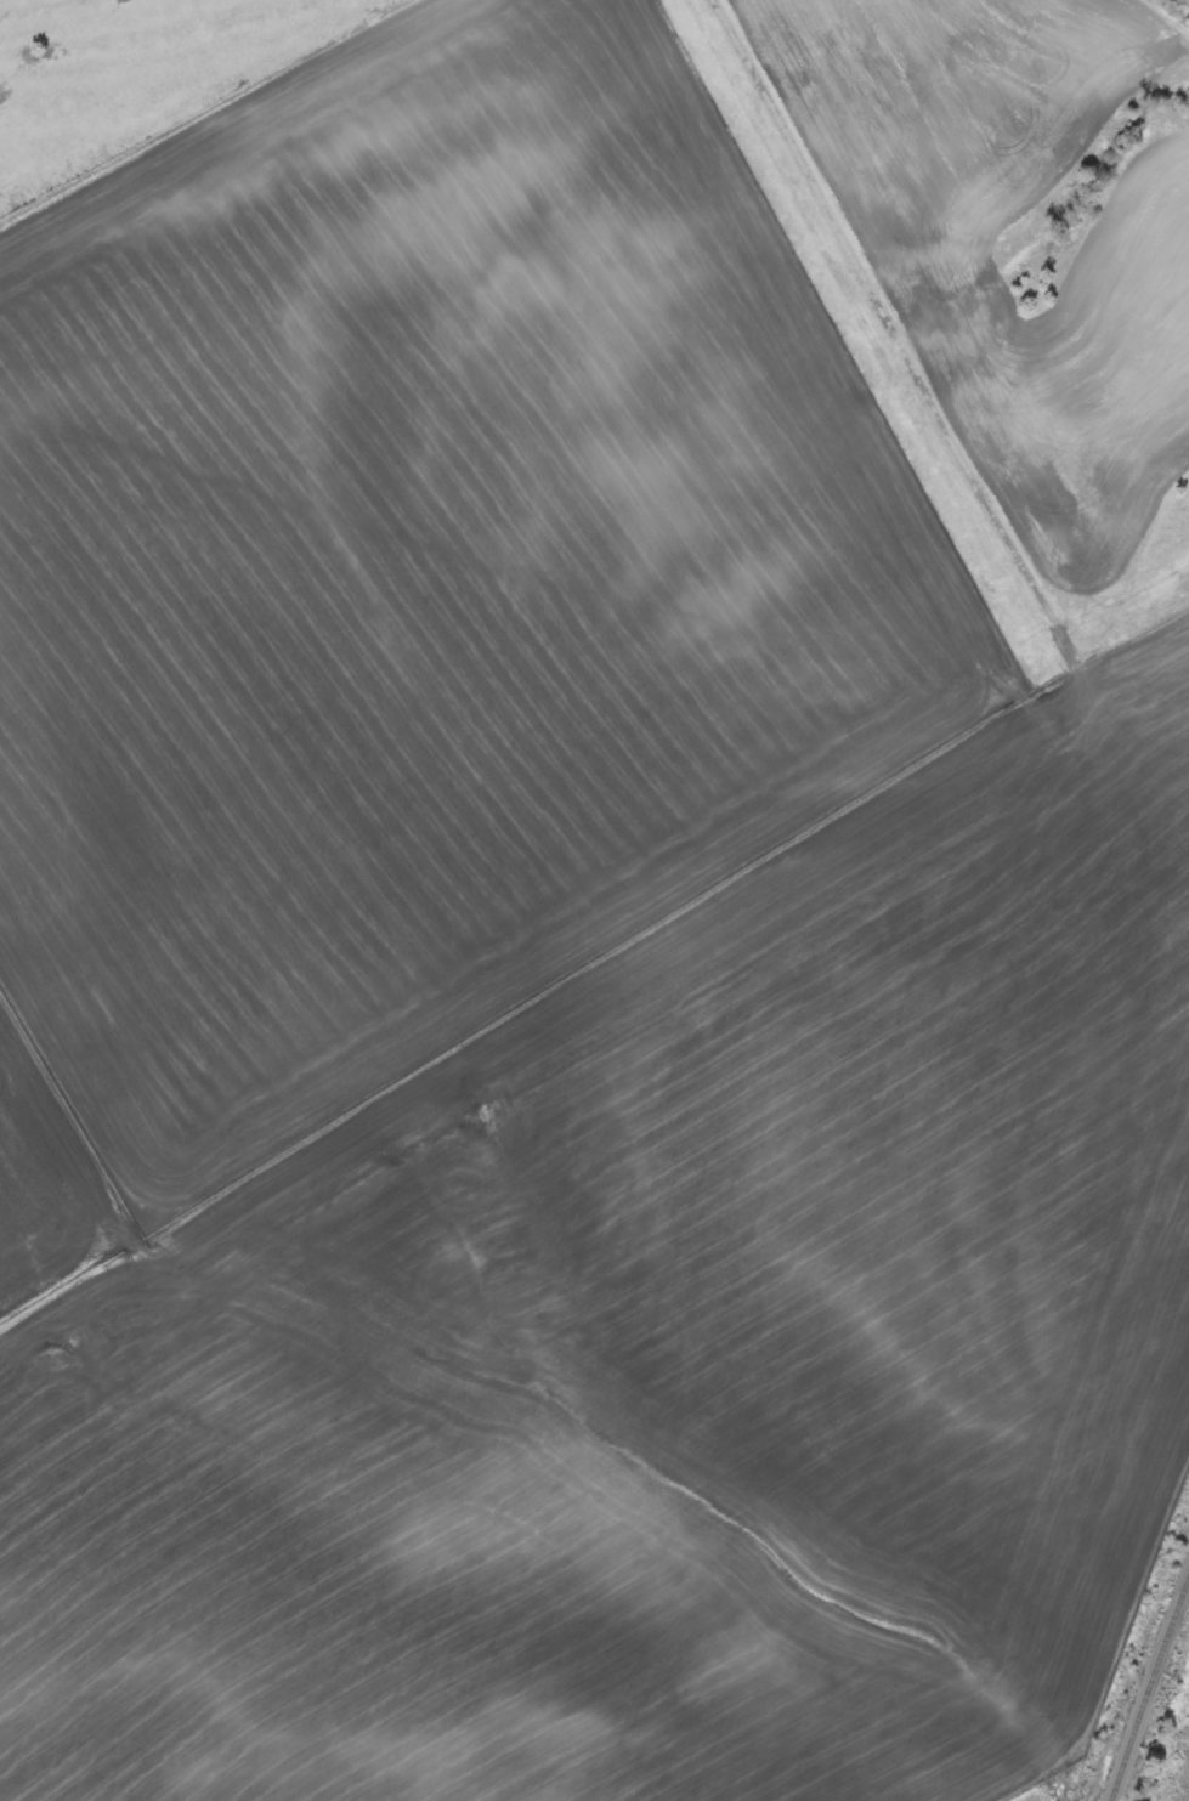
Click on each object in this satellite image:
railway: (1150, 1690)

